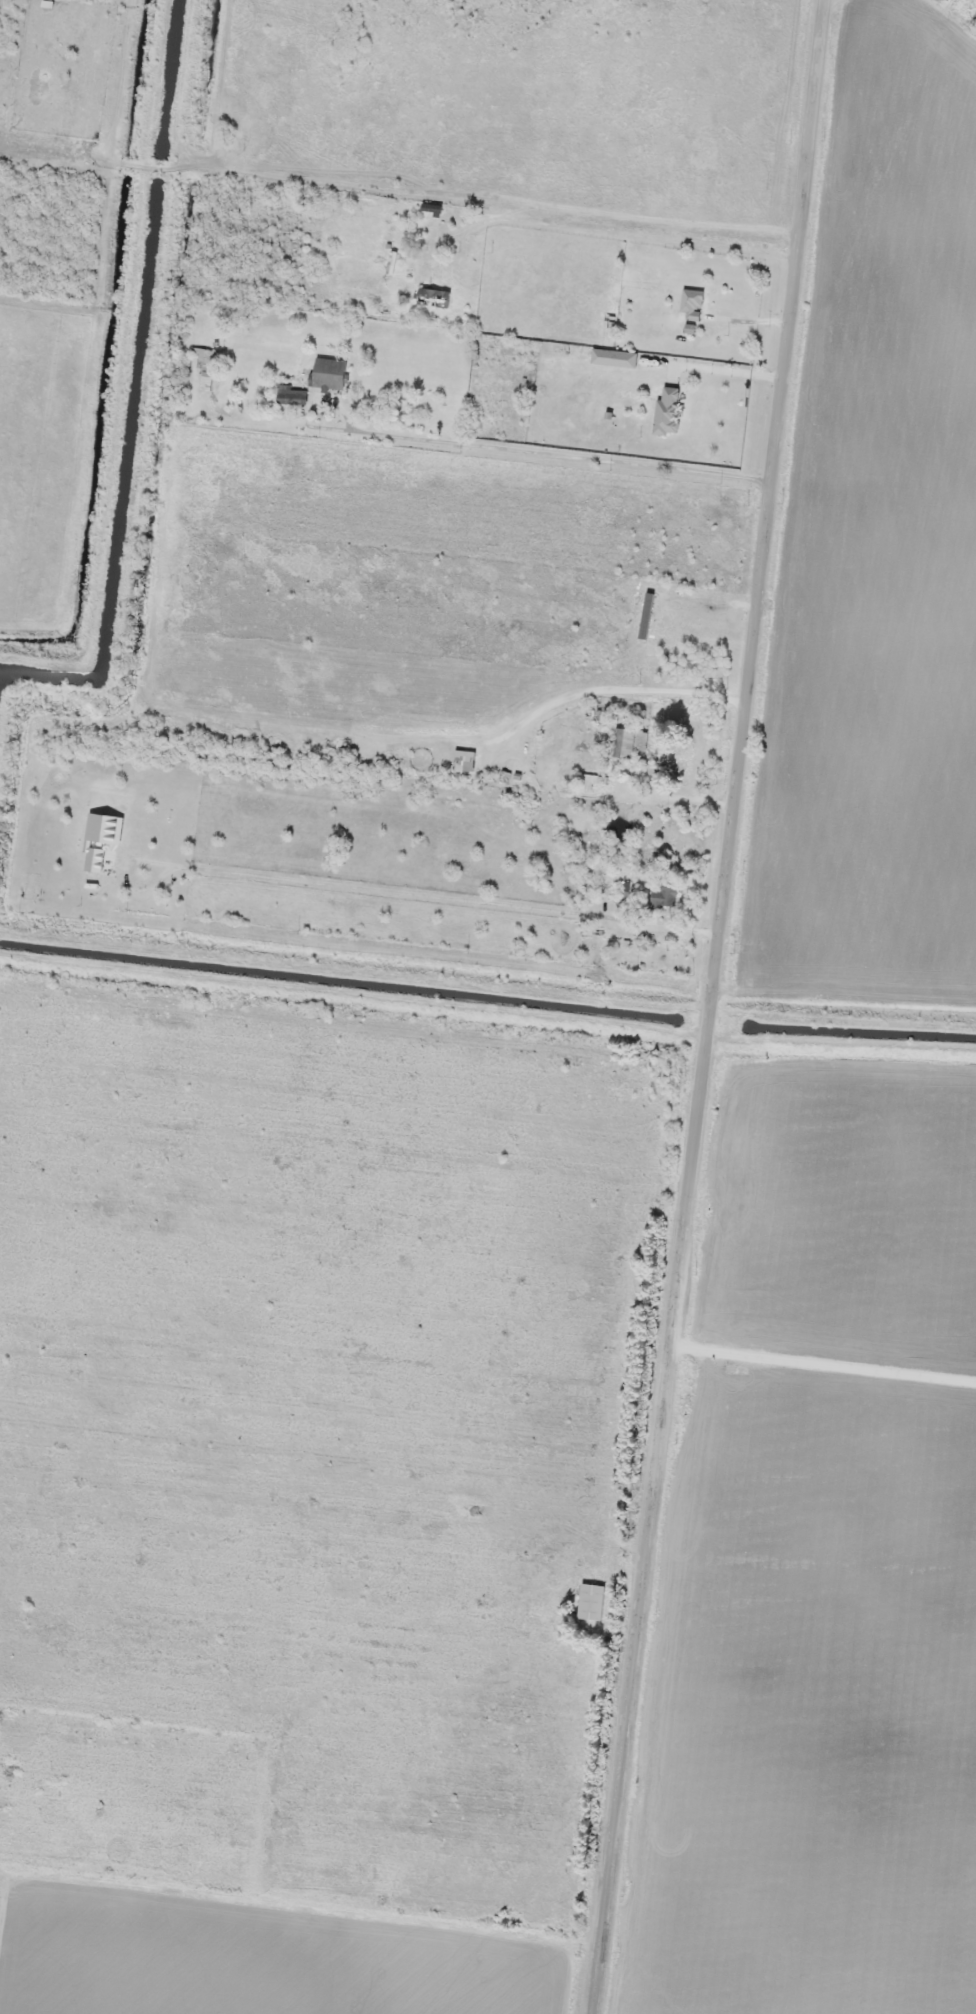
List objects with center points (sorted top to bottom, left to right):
road: (644, 236)
building: (433, 297)
building: (691, 302)
building: (614, 357)
building: (205, 365)
building: (329, 373)
building: (291, 395)
building: (668, 411)
road: (577, 457)
building: (628, 741)
building: (464, 760)
building: (584, 782)
building: (663, 895)
road: (722, 1007)
road: (321, 1428)
building: (591, 1601)

